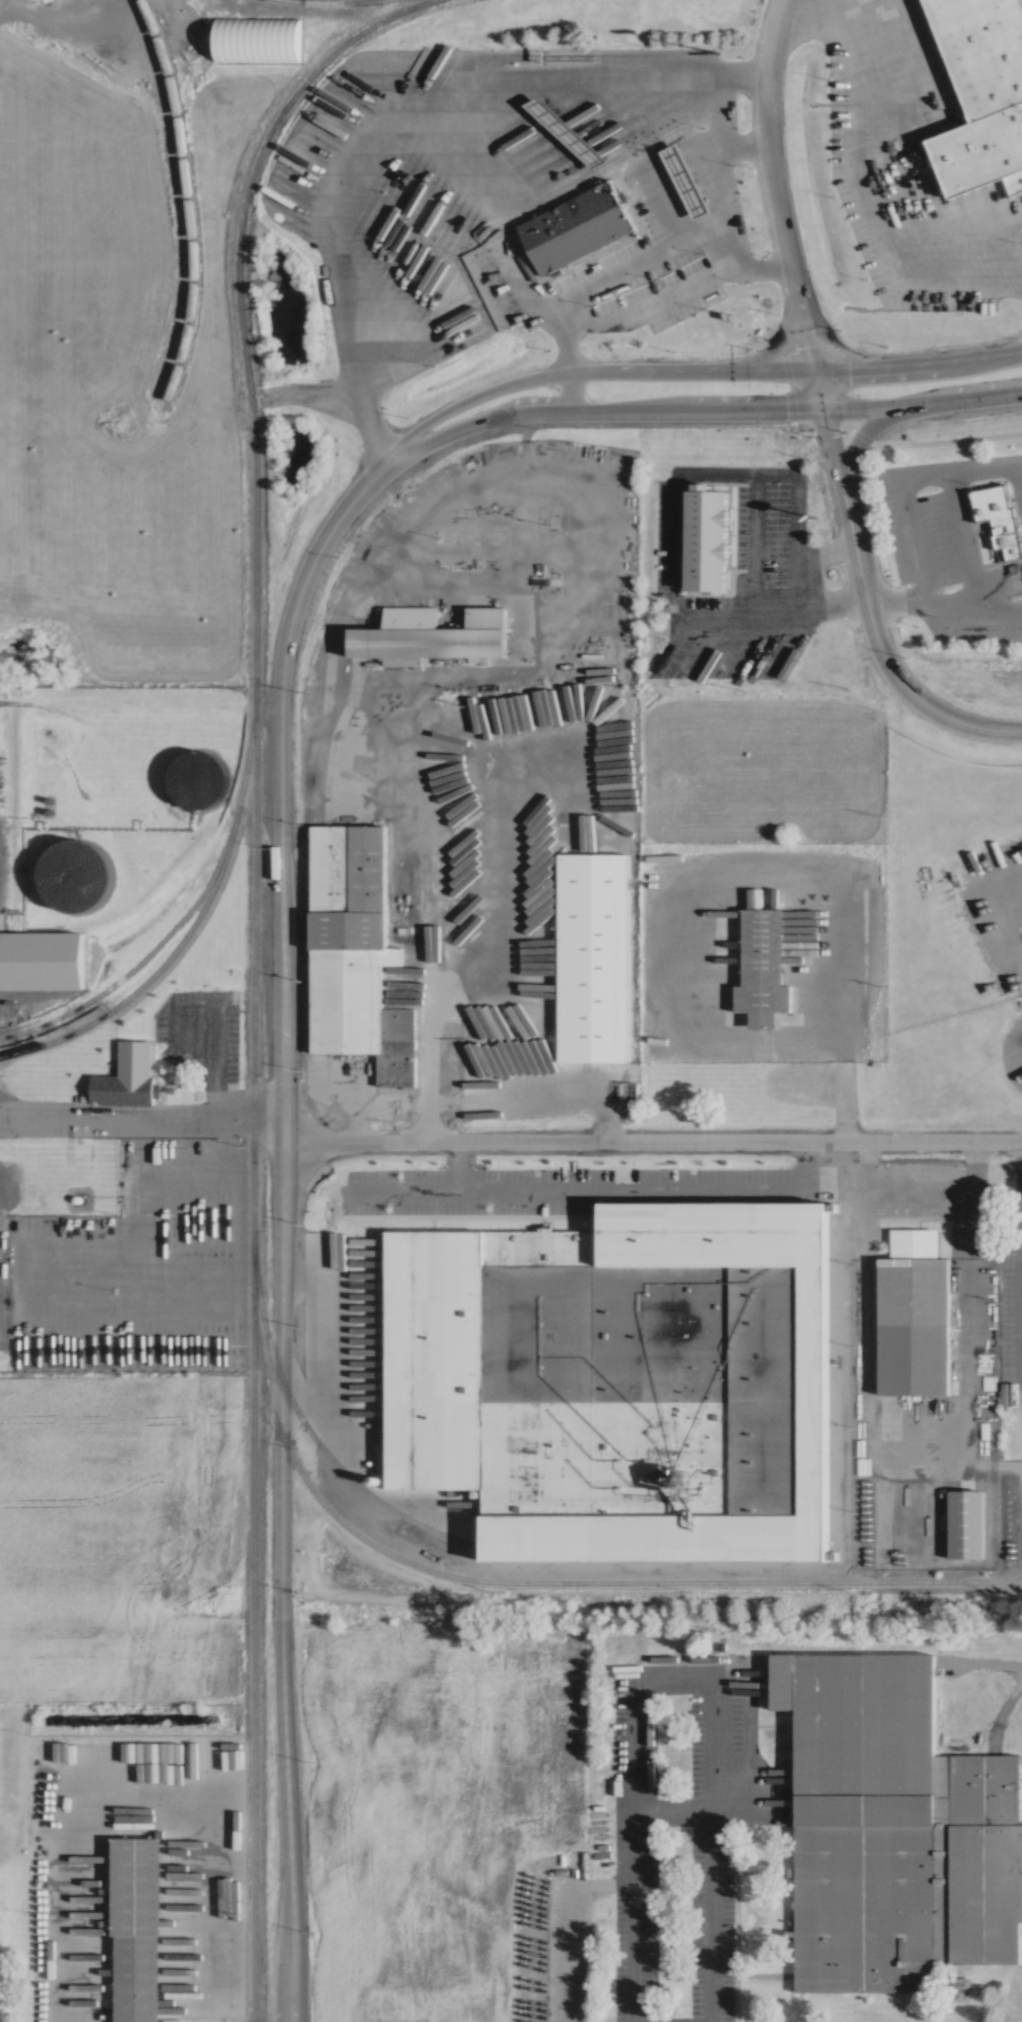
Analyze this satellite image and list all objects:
railway: (331, 1)
road: (822, 11)
building: (260, 37)
road: (356, 78)
building: (985, 91)
building: (560, 126)
road: (915, 153)
building: (680, 179)
road: (771, 185)
railway: (187, 200)
road: (768, 221)
building: (572, 226)
road: (571, 286)
traffic signals: (804, 339)
road: (566, 356)
road: (915, 368)
road: (799, 370)
traffic signals: (850, 370)
road: (497, 390)
road: (816, 393)
road: (907, 410)
traffic signals: (784, 416)
road: (511, 421)
road: (826, 423)
road: (865, 423)
road: (812, 432)
road: (842, 432)
traffic signals: (831, 442)
road: (938, 442)
road: (837, 466)
road: (847, 467)
road: (905, 478)
building: (999, 518)
road: (850, 527)
building: (708, 538)
road: (669, 543)
road: (973, 606)
building: (431, 635)
road: (900, 680)
building: (187, 787)
storage tank: (187, 787)
road: (837, 875)
building: (70, 889)
storage tank: (70, 889)
road: (1006, 912)
building: (347, 934)
railway: (186, 935)
building: (595, 954)
railway: (252, 967)
building: (763, 967)
road: (211, 1059)
building: (128, 1076)
road: (841, 1088)
road: (140, 1124)
road: (651, 1140)
road: (804, 1165)
road: (456, 1167)
road: (574, 1191)
road: (1021, 1262)
road: (279, 1274)
building: (914, 1313)
road: (300, 1355)
building: (623, 1378)
road: (915, 1438)
railway: (319, 1447)
railway: (561, 1581)
road: (983, 1661)
road: (665, 1681)
road: (1001, 1705)
road: (142, 1781)
road: (666, 1814)
building: (894, 1826)
road: (568, 1927)
building: (137, 1931)
road: (287, 1991)

